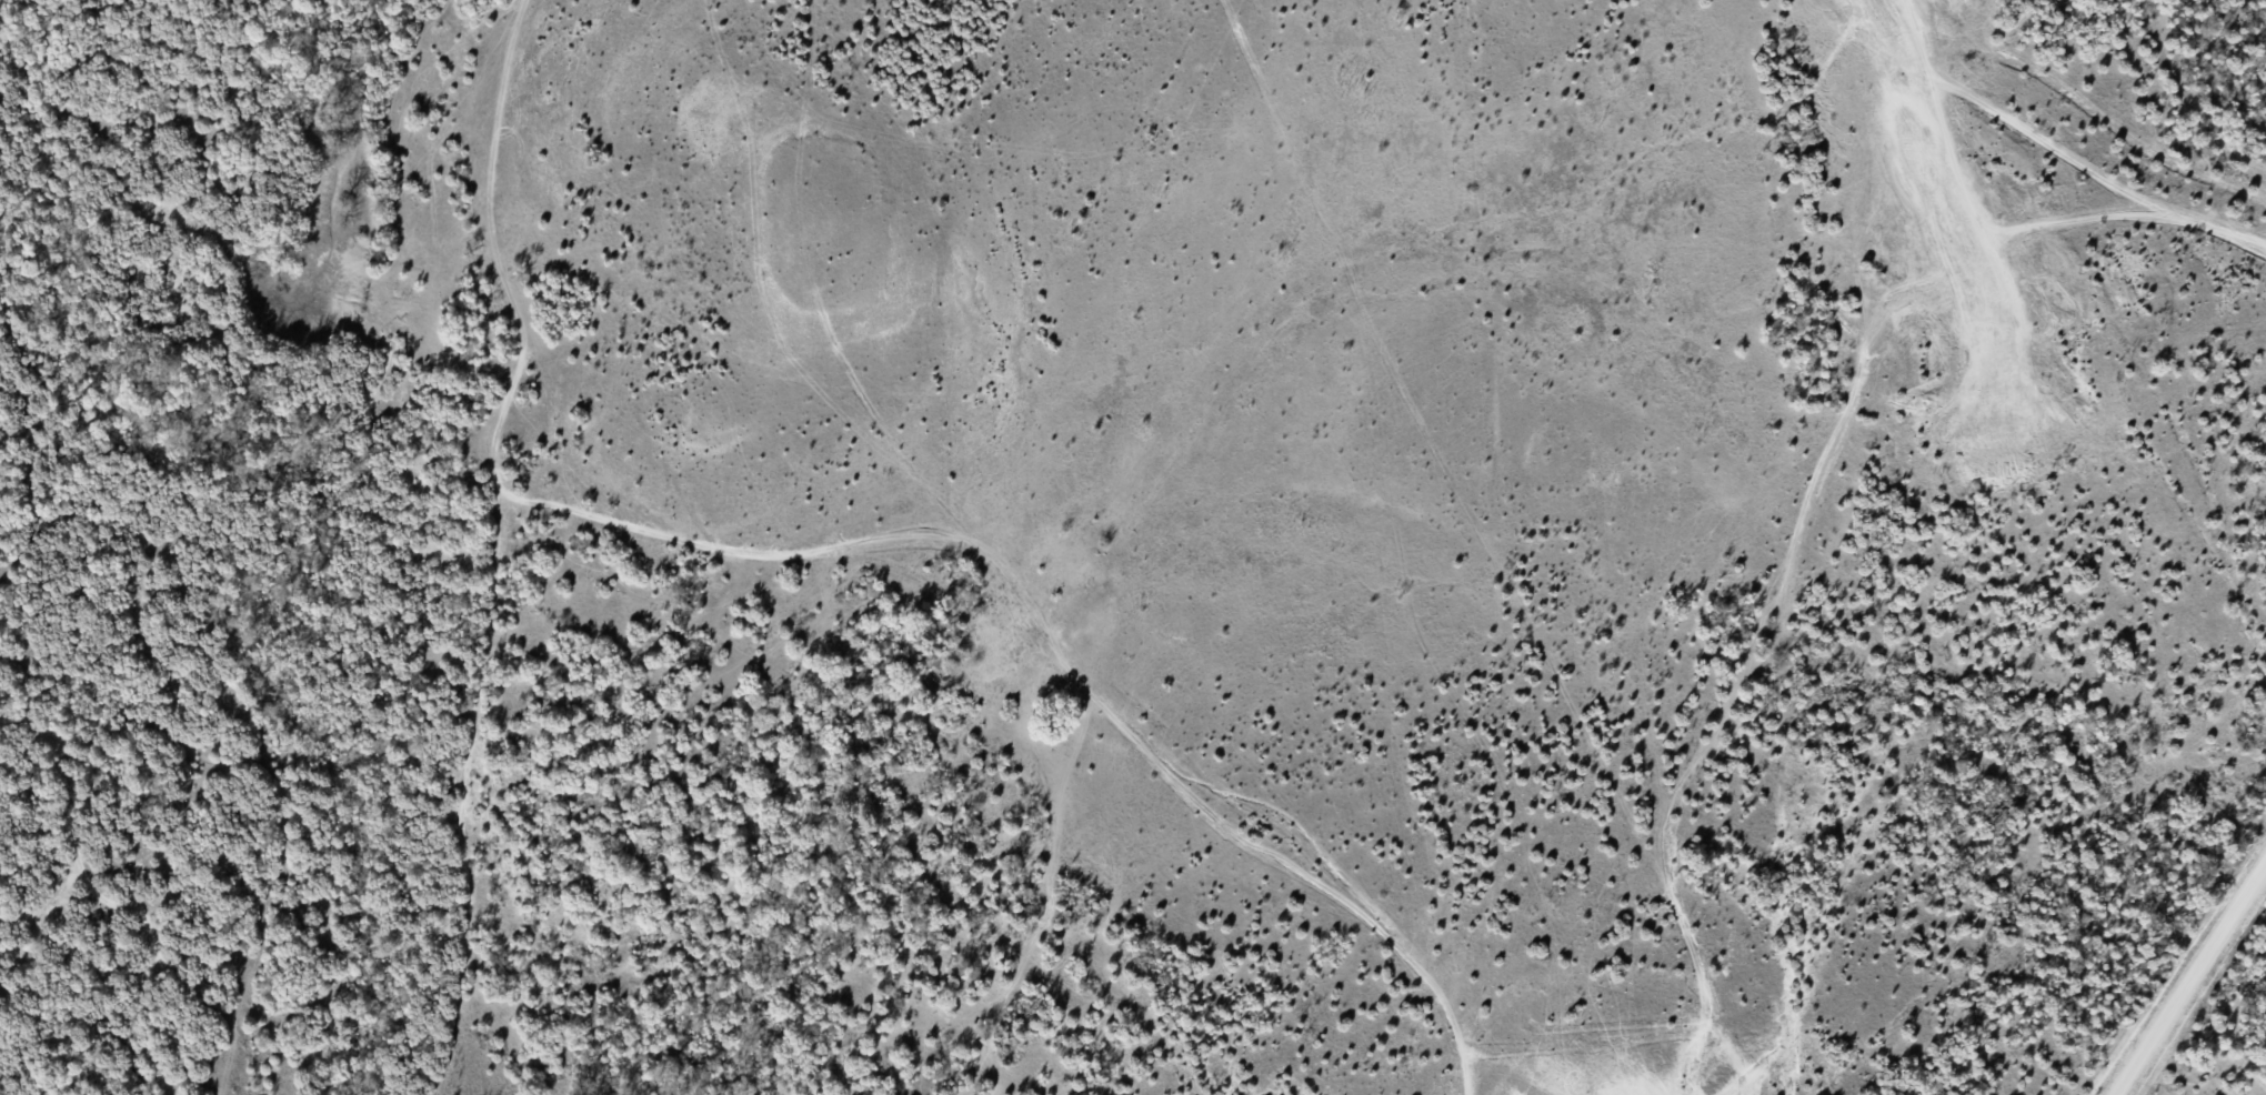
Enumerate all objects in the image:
road: (2189, 980)

